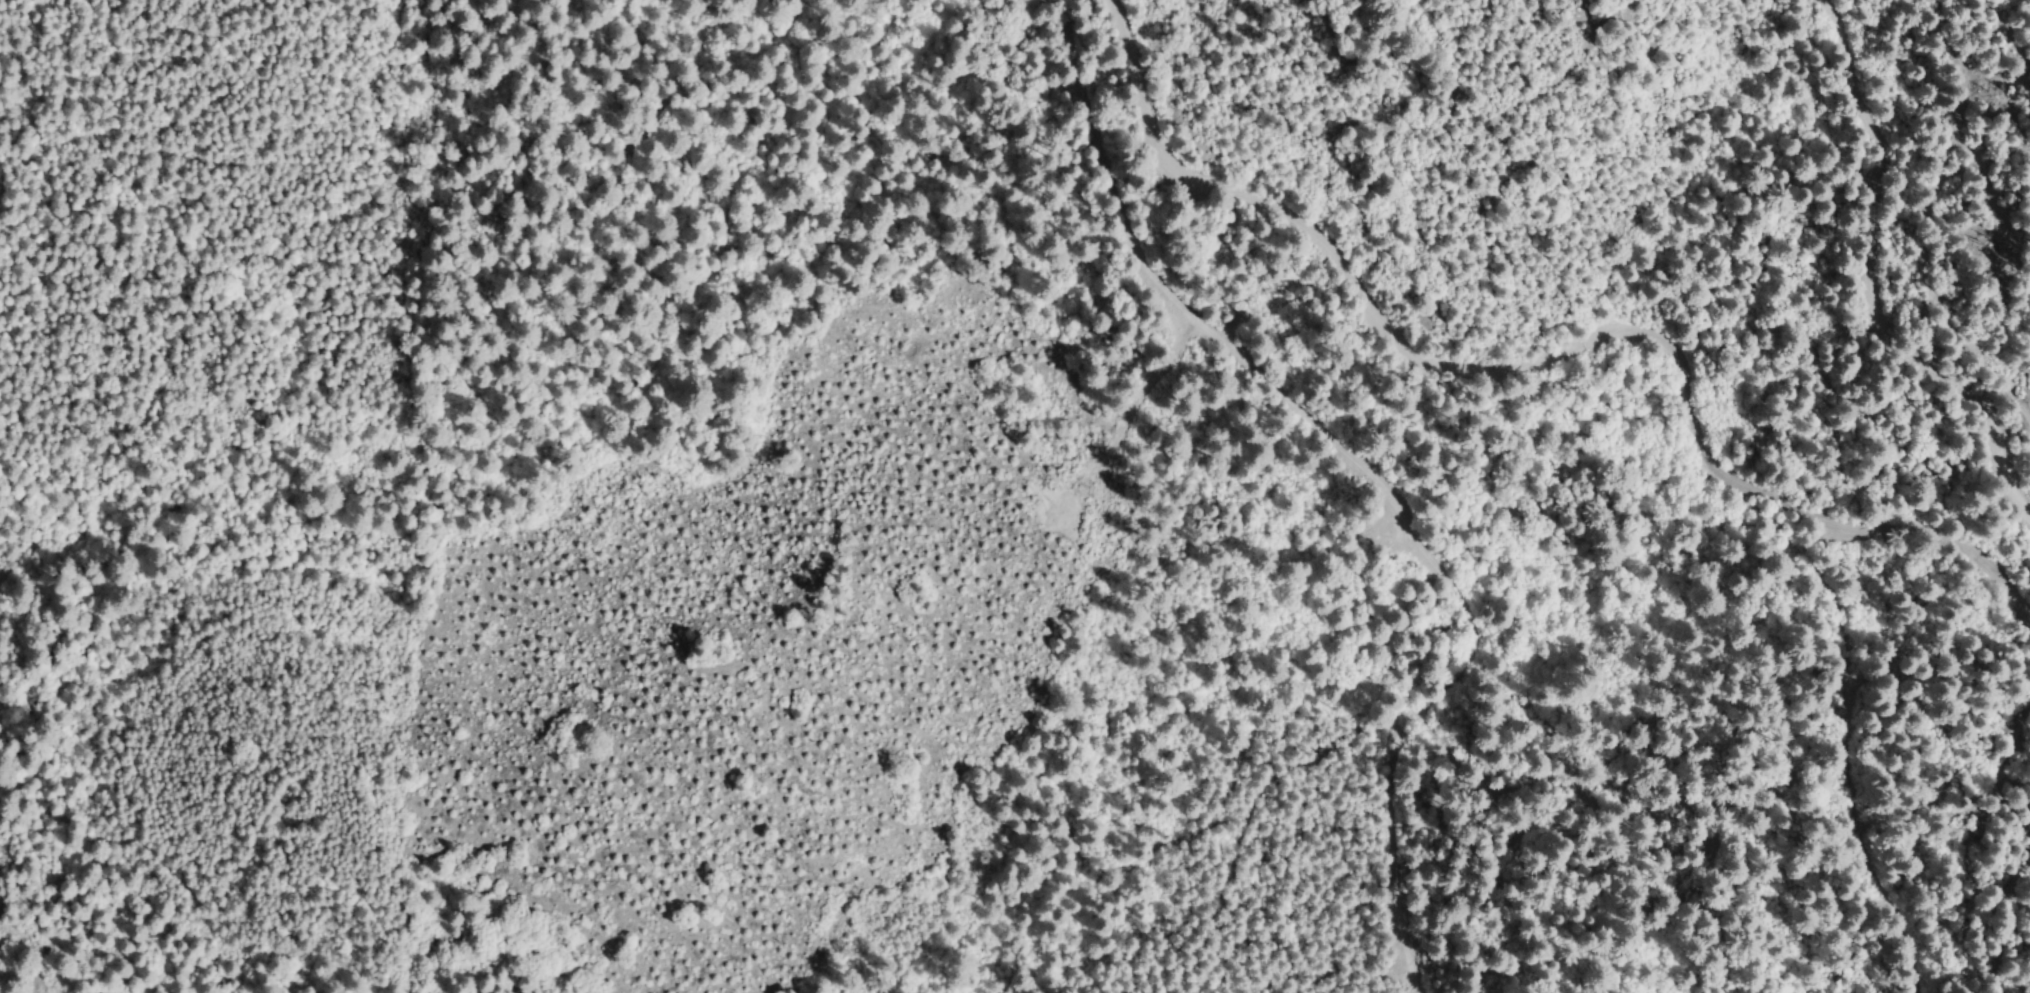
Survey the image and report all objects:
road: (1867, 280)
road: (1544, 362)
road: (1373, 472)

